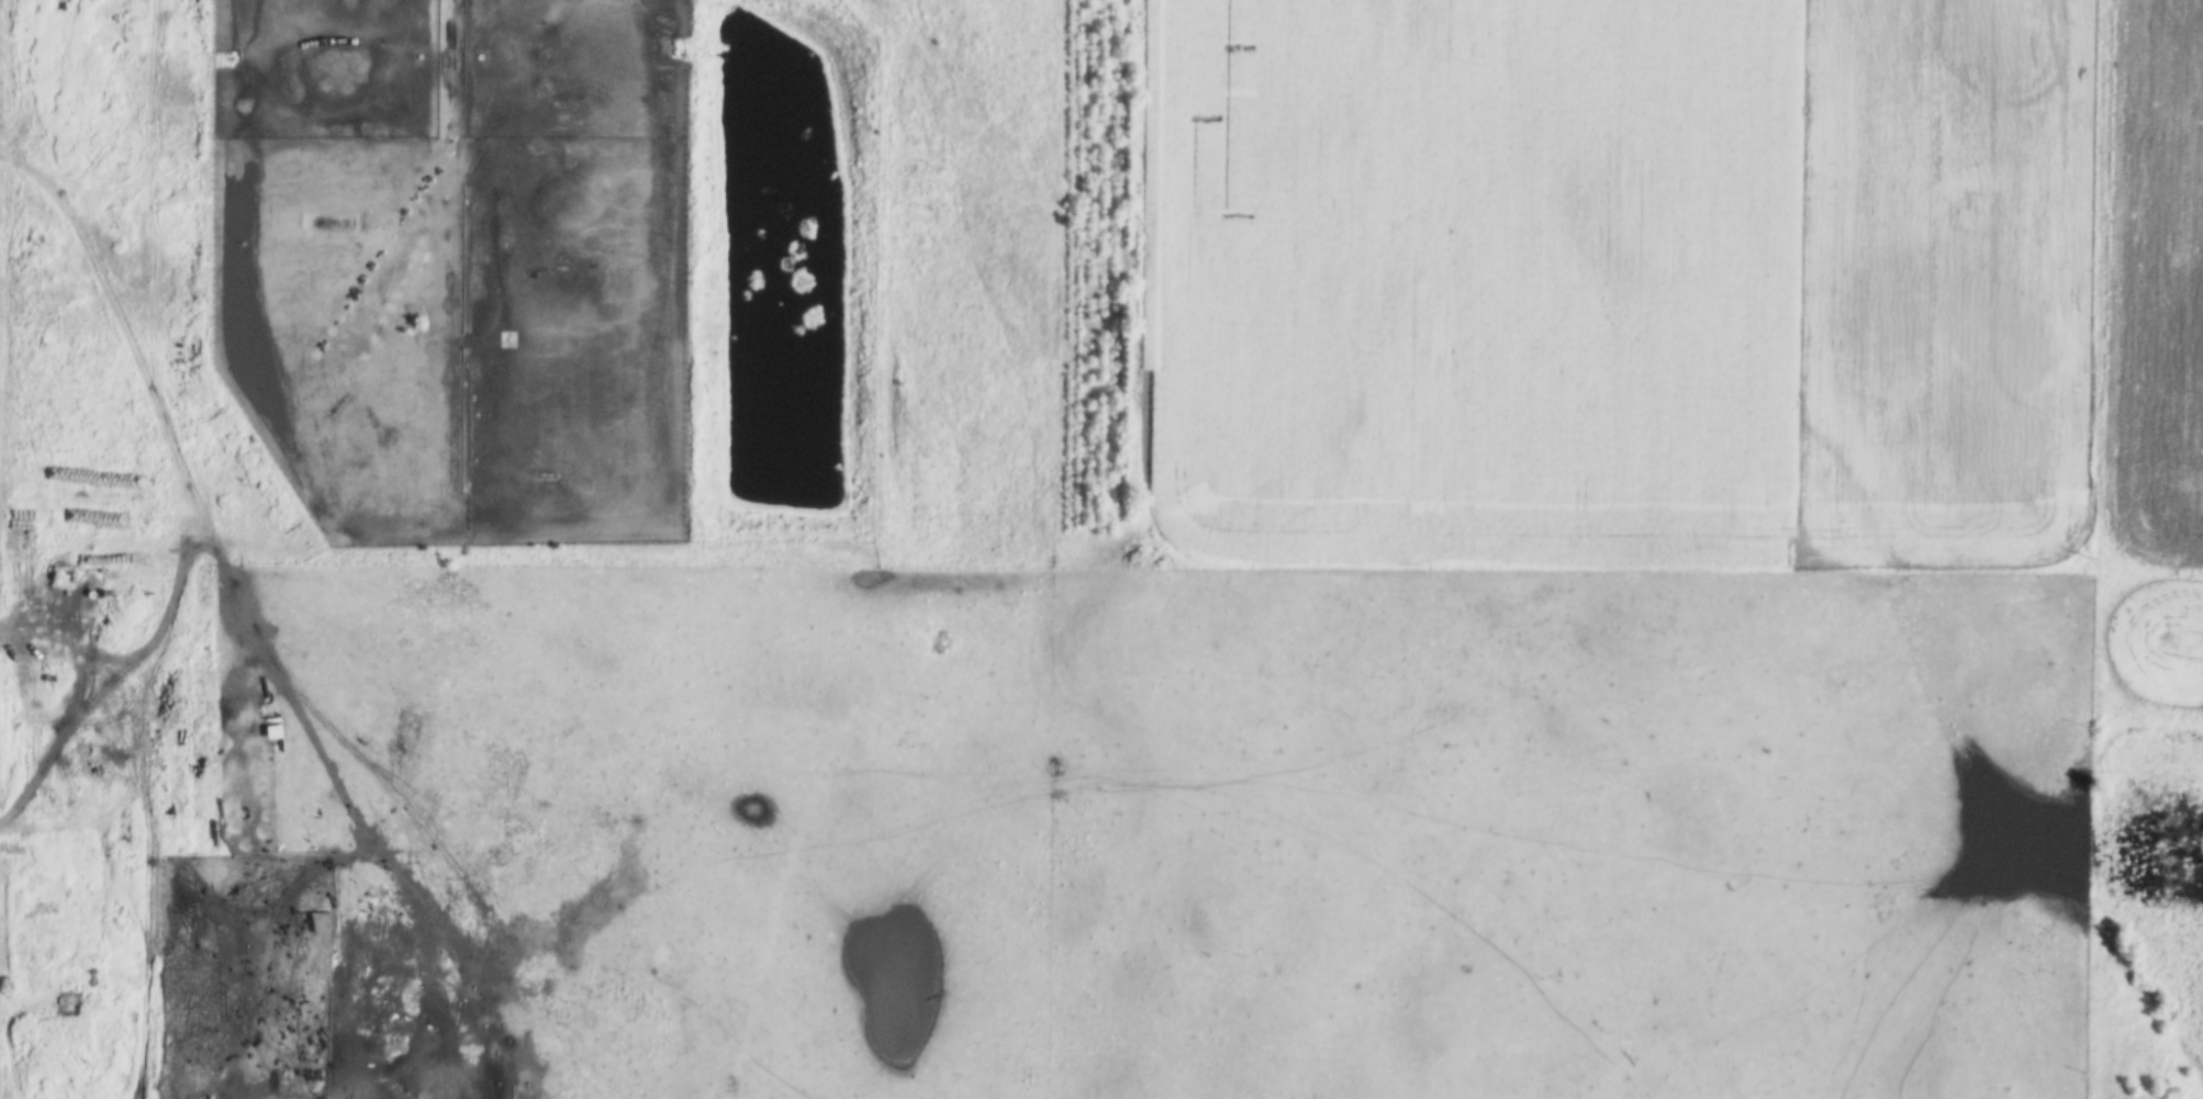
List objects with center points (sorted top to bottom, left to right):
building: (398, 1095)

